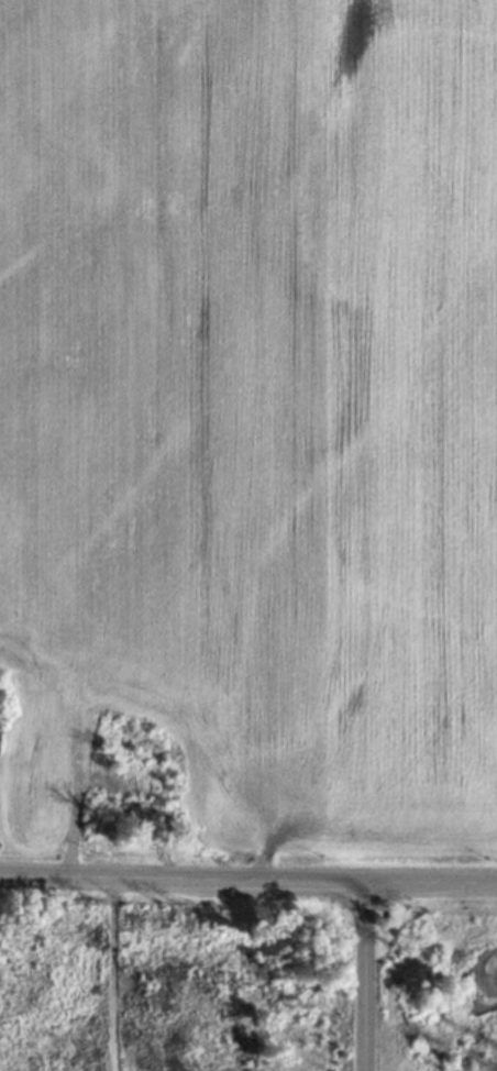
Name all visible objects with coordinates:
road: (248, 879)
road: (358, 975)

